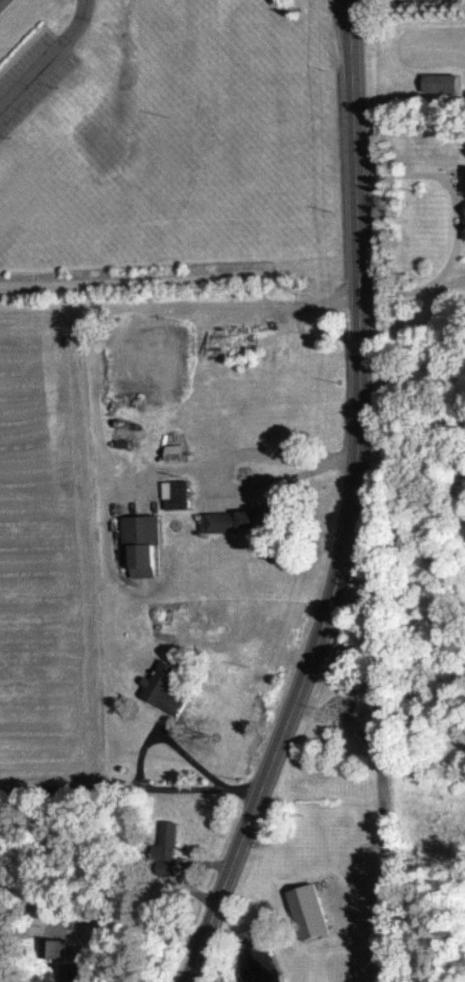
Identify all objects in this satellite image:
crop: (435, 44)
road: (49, 59)
parking lot: (31, 76)
building: (437, 85)
building: (462, 206)
road: (456, 228)
building: (147, 394)
building: (169, 455)
building: (171, 496)
road: (355, 506)
building: (234, 522)
crop: (50, 536)
building: (137, 547)
building: (161, 690)
road: (383, 773)
road: (208, 784)
road: (105, 789)
building: (161, 852)
road: (125, 922)
building: (48, 950)

